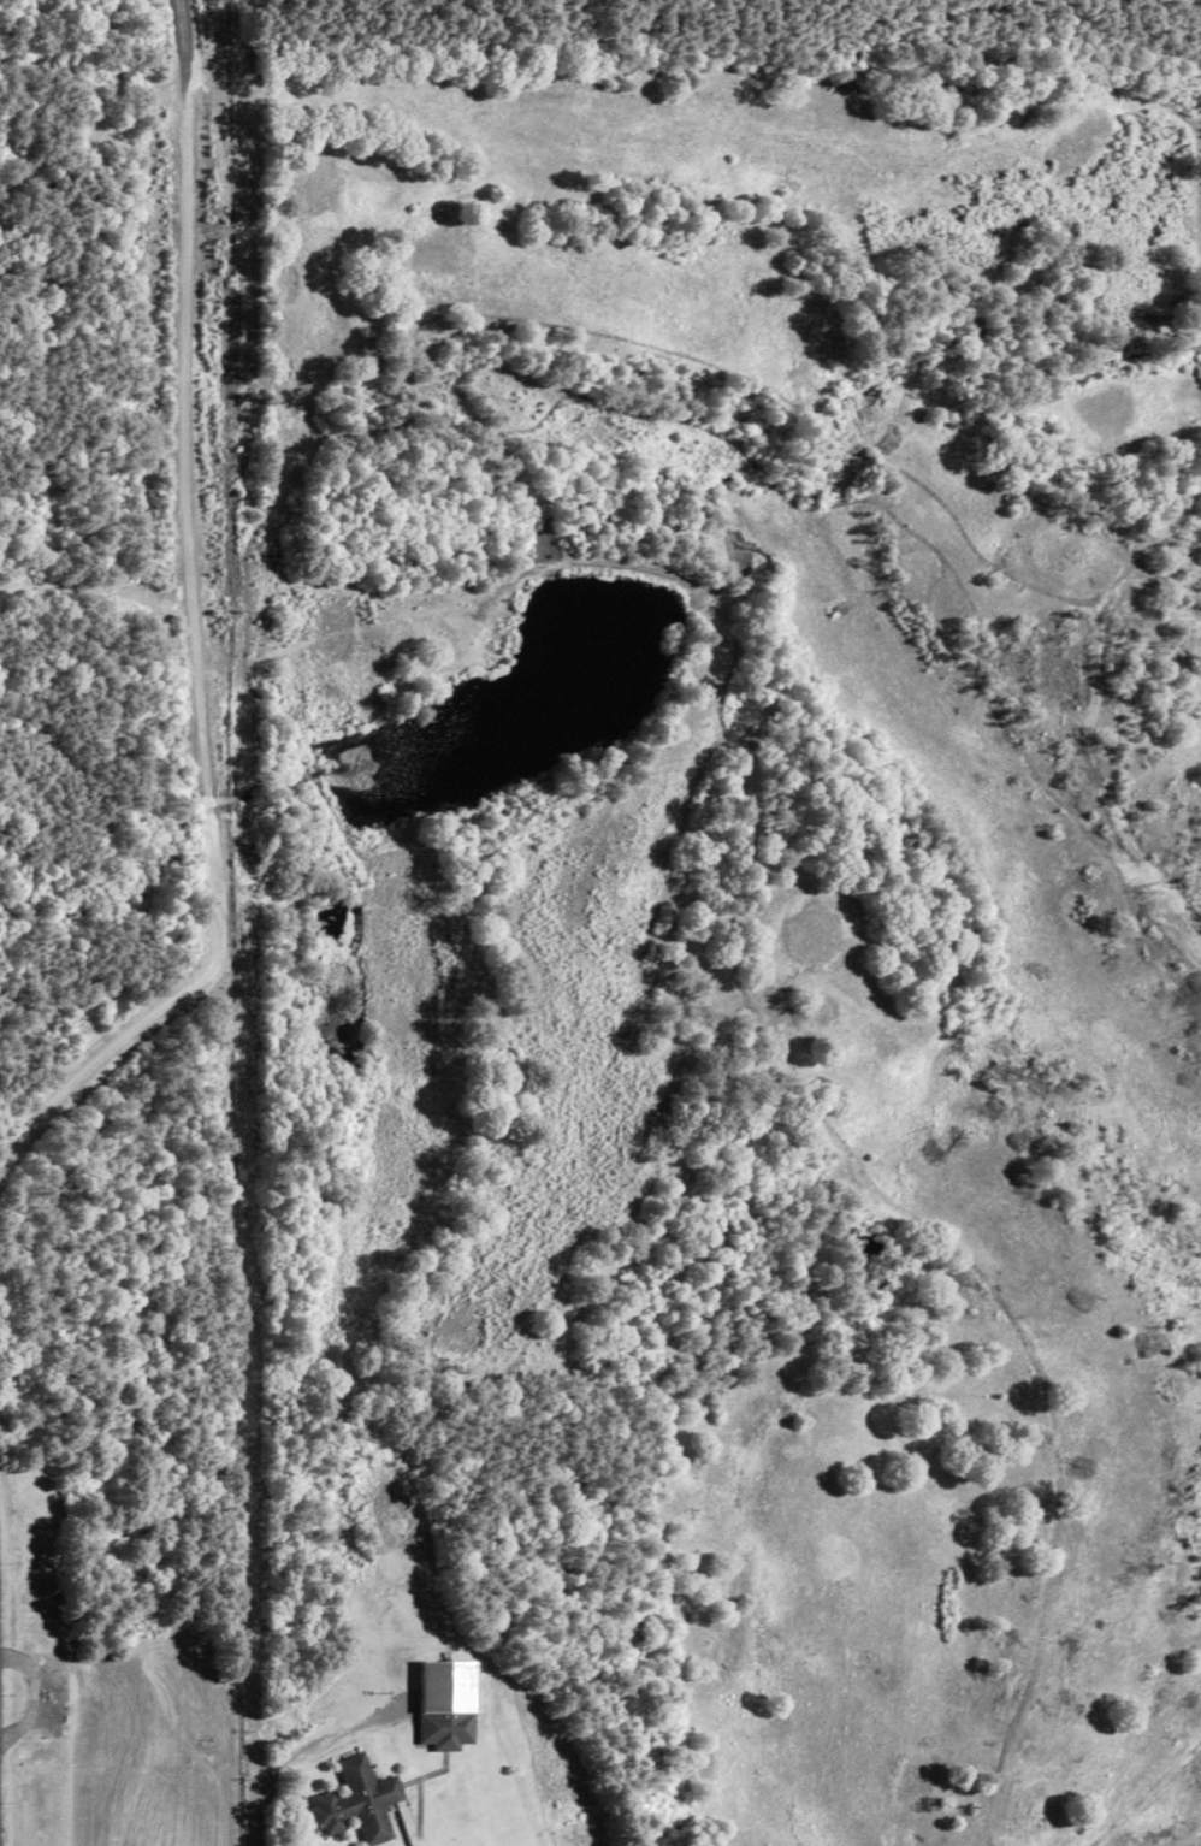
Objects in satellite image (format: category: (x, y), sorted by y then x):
building: (665, 1362)
building: (446, 1704)
building: (359, 1803)

